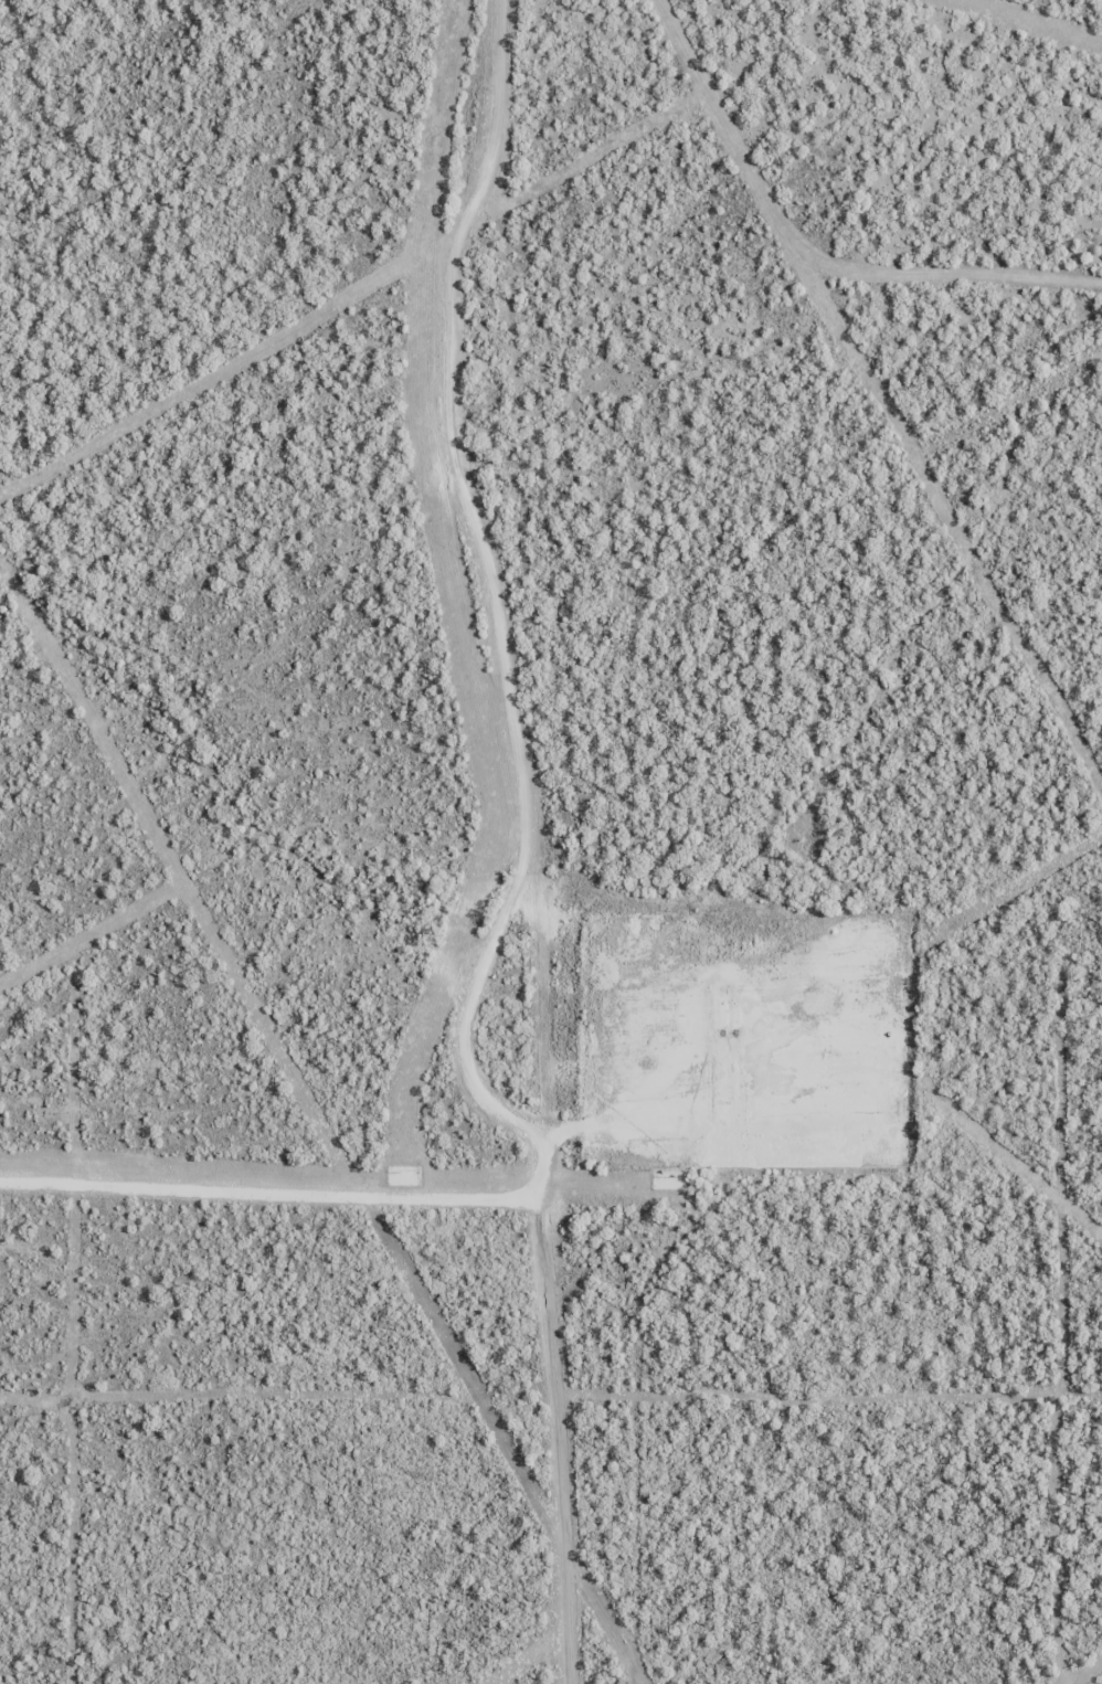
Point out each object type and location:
road: (309, 1206)

